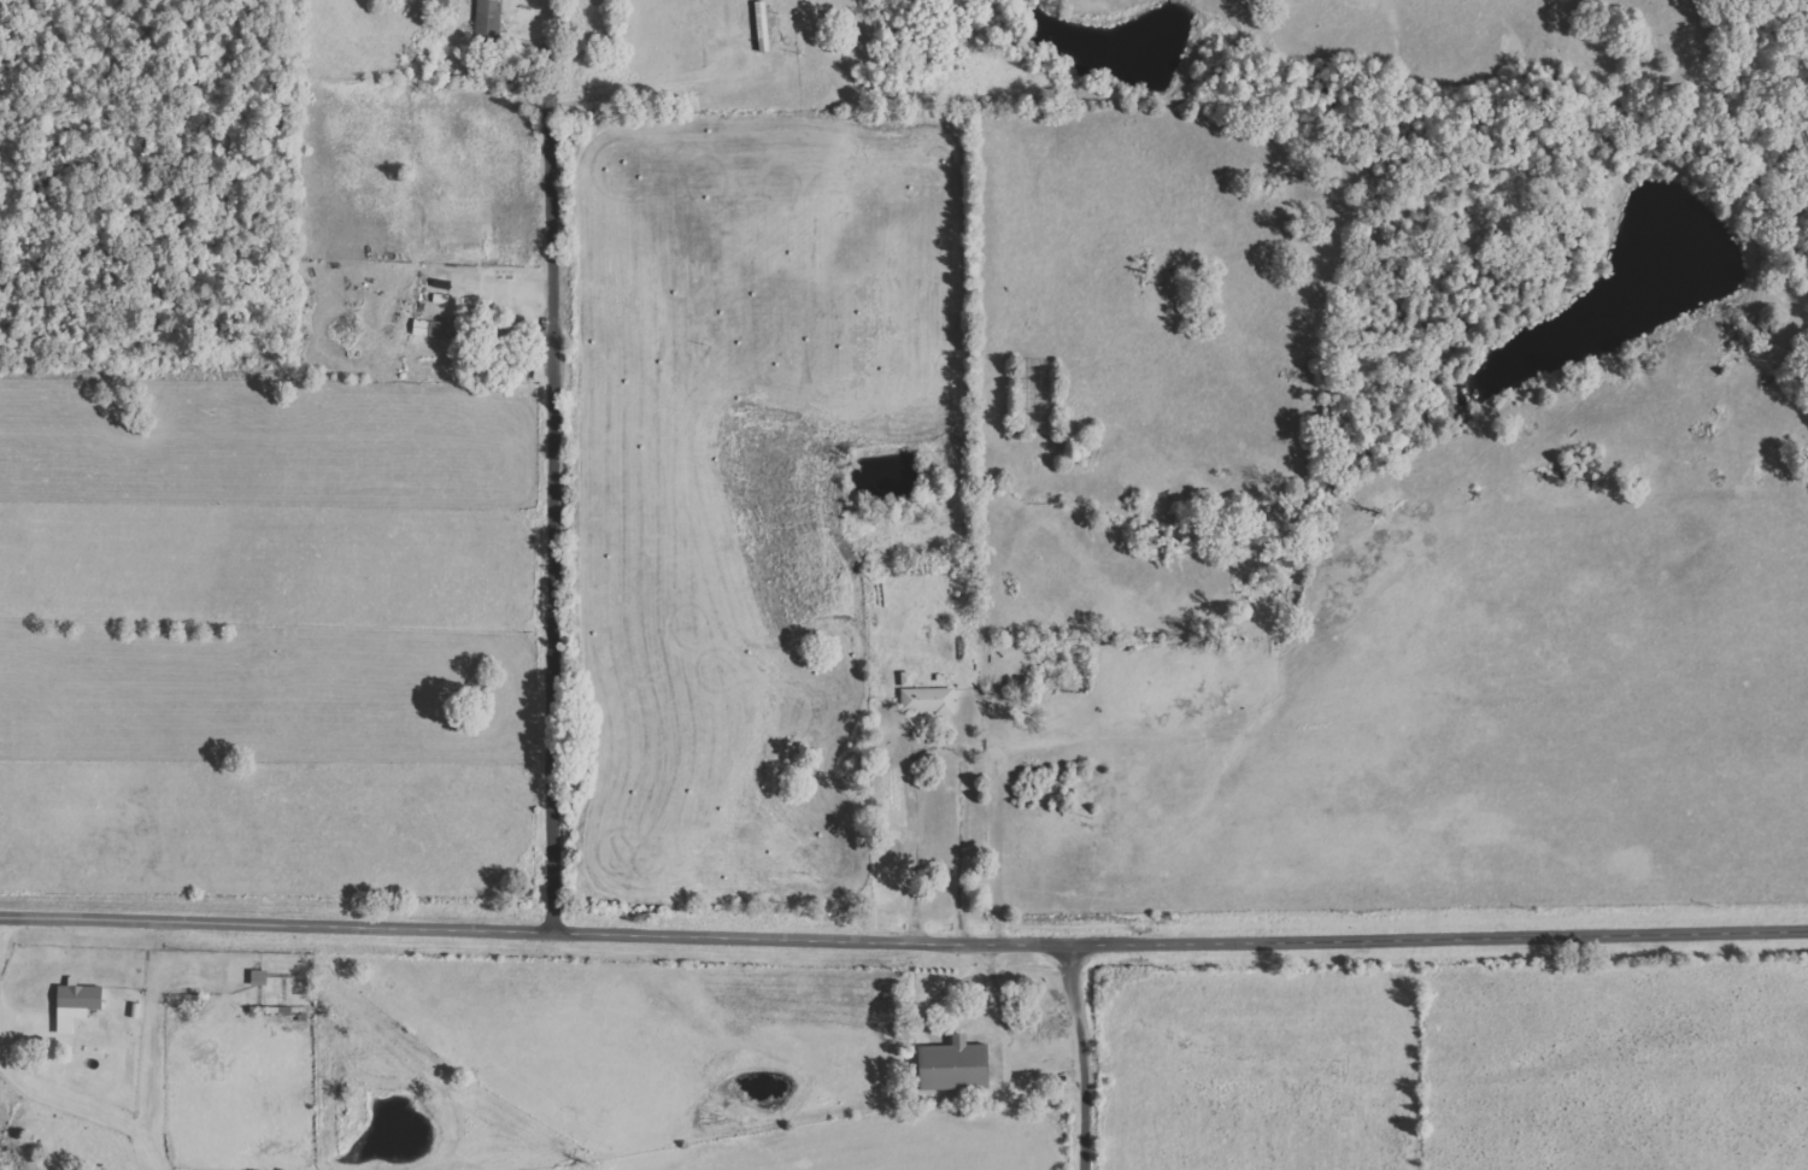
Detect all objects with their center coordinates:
building: (489, 18)
building: (432, 328)
road: (556, 482)
building: (926, 696)
road: (903, 942)
building: (78, 1004)
road: (1087, 1056)
building: (957, 1065)

